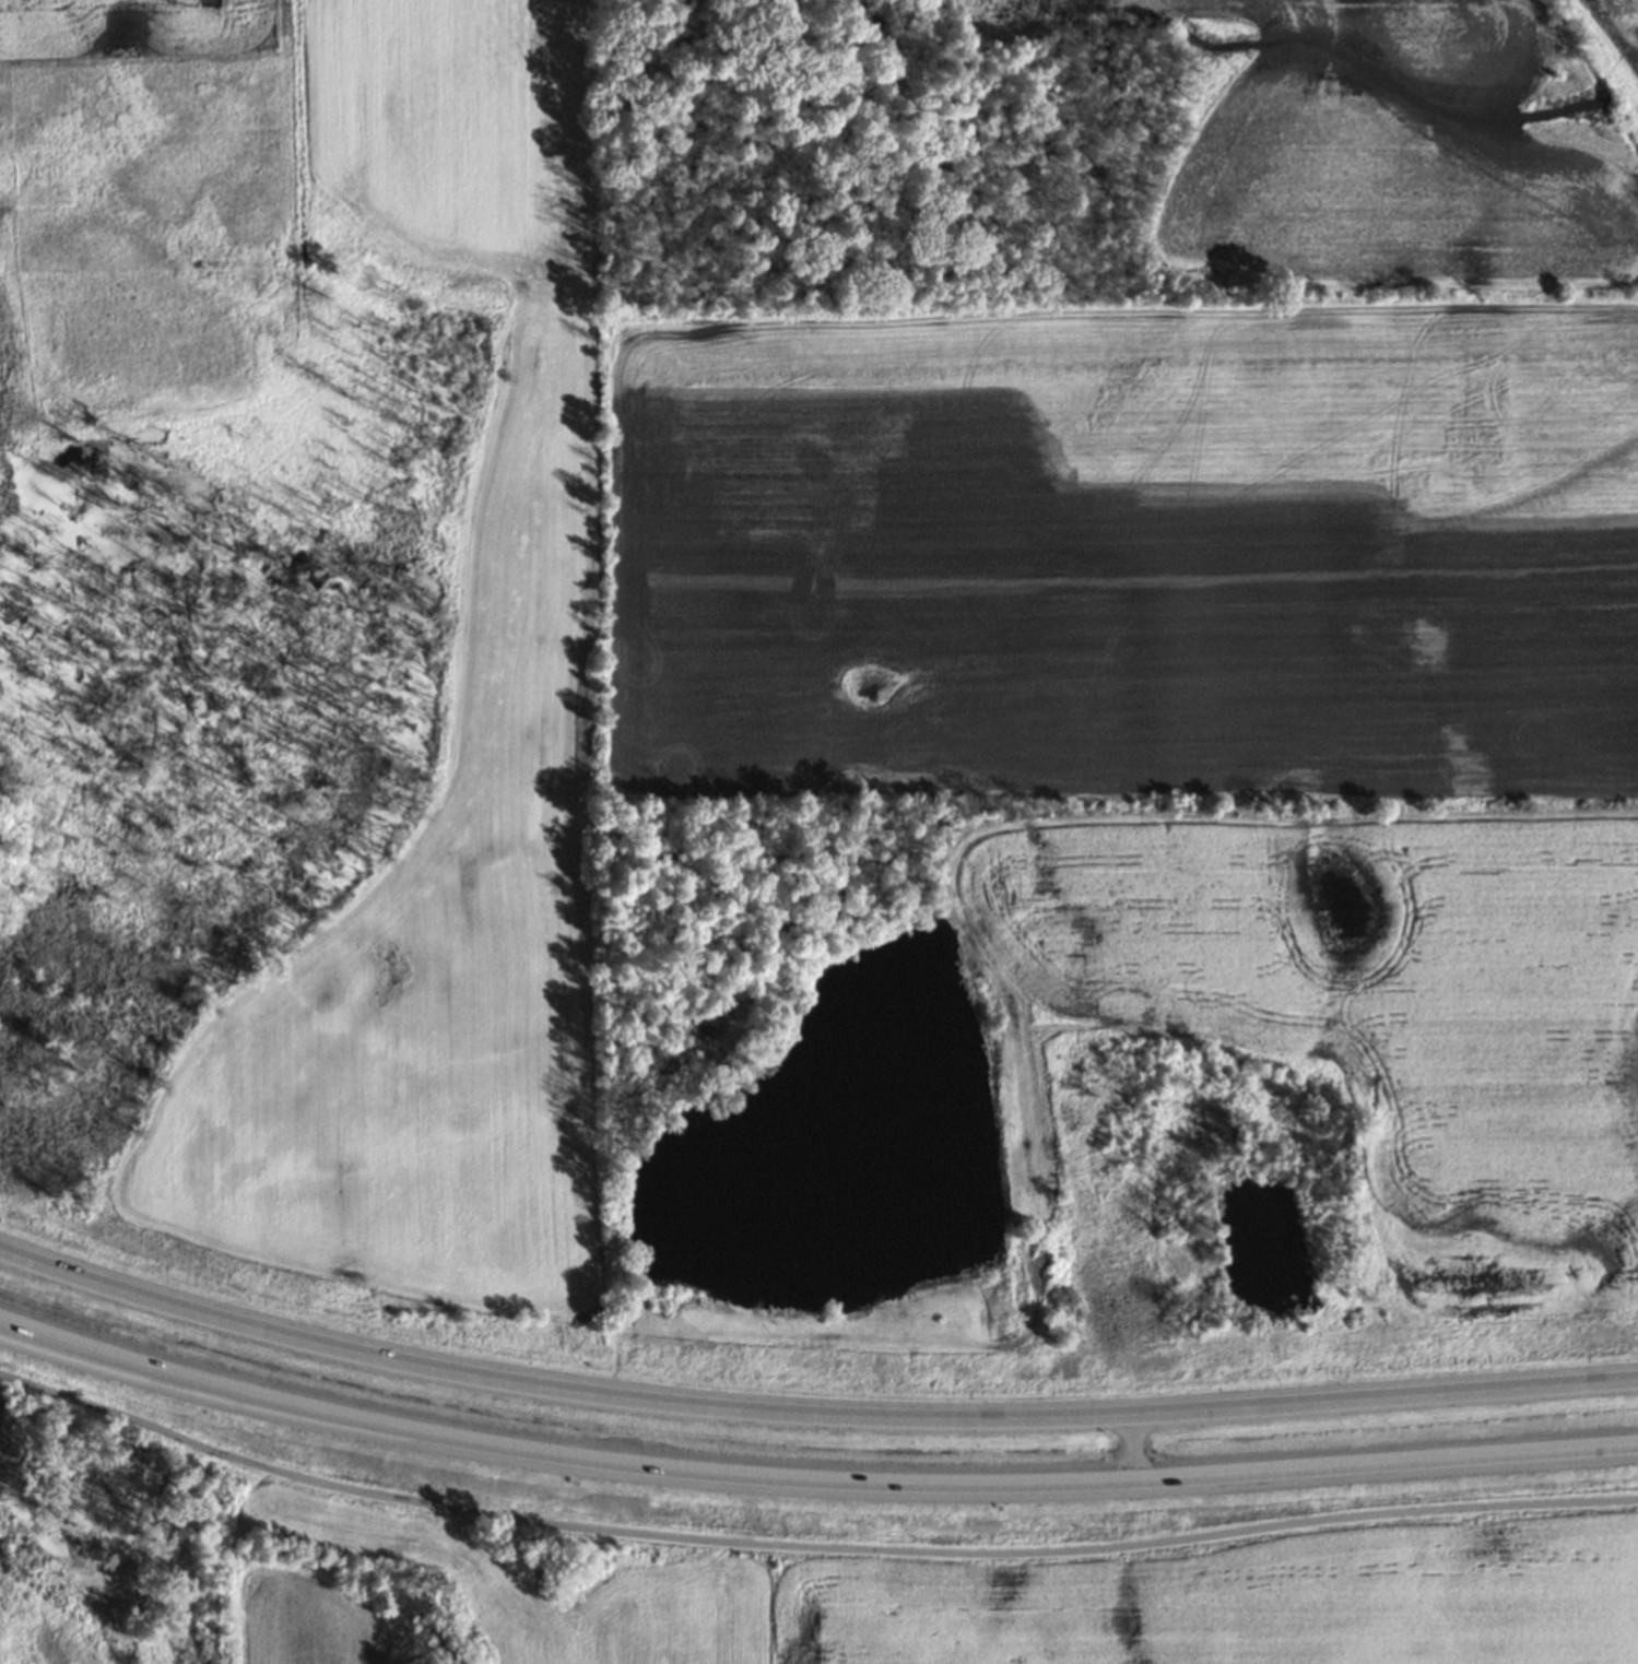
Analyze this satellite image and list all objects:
road: (80, 1357)
road: (810, 1414)
road: (1134, 1447)
road: (810, 1479)
road: (809, 1545)

